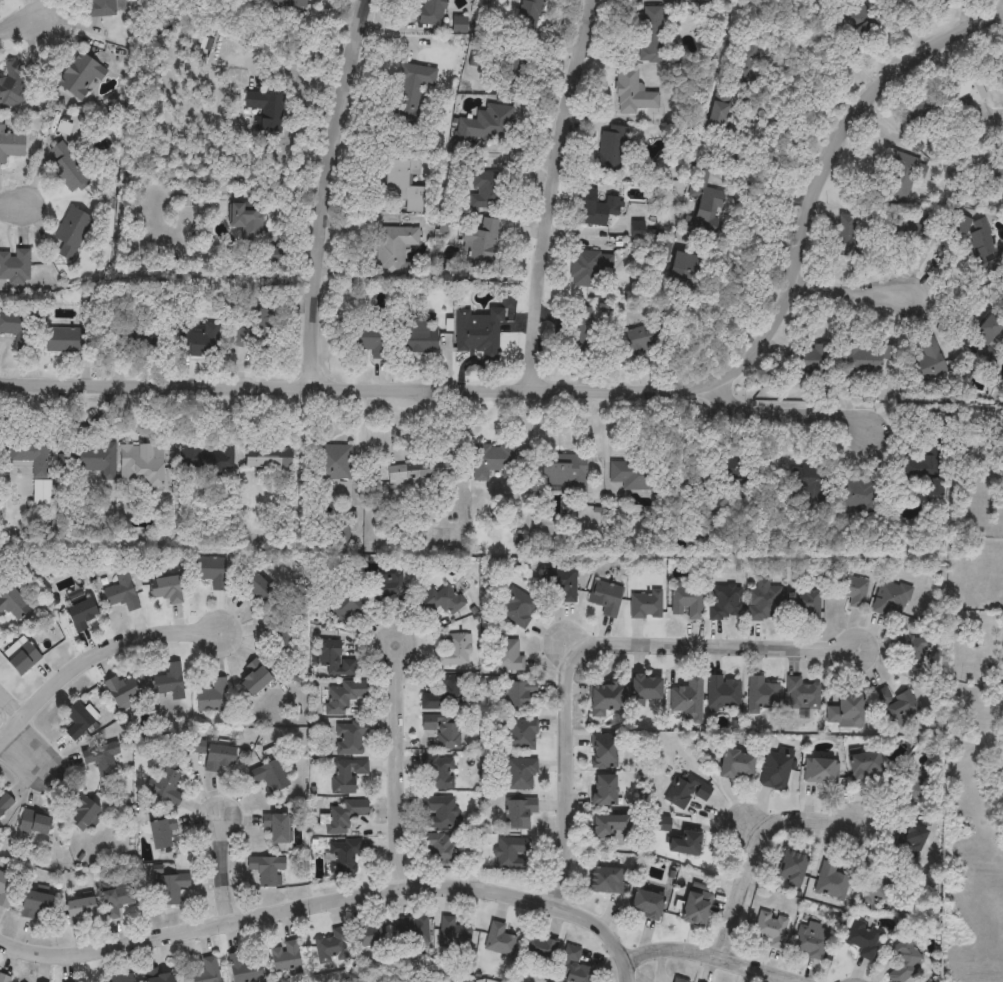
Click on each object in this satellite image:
building: (289, 4)
building: (942, 4)
building: (102, 8)
building: (431, 12)
building: (461, 25)
road: (17, 26)
building: (861, 27)
building: (649, 32)
building: (78, 76)
building: (13, 86)
building: (963, 86)
building: (410, 91)
building: (632, 93)
building: (913, 115)
building: (485, 128)
road: (791, 134)
building: (10, 146)
building: (611, 150)
building: (68, 168)
building: (901, 177)
building: (995, 180)
building: (402, 184)
building: (487, 191)
road: (329, 193)
road: (552, 197)
building: (703, 203)
road: (18, 207)
building: (597, 208)
building: (246, 220)
building: (905, 230)
building: (71, 234)
building: (852, 240)
building: (981, 243)
building: (480, 247)
building: (393, 251)
building: (682, 263)
building: (14, 267)
building: (590, 270)
road: (847, 296)
building: (16, 328)
building: (257, 329)
building: (987, 331)
building: (582, 333)
building: (479, 334)
building: (415, 337)
building: (369, 339)
building: (197, 340)
building: (70, 341)
building: (135, 341)
building: (642, 341)
building: (866, 359)
building: (814, 361)
building: (928, 362)
road: (607, 398)
road: (793, 405)
building: (266, 459)
building: (88, 460)
building: (207, 460)
building: (491, 461)
building: (926, 462)
building: (333, 463)
building: (140, 466)
building: (35, 471)
building: (563, 472)
building: (418, 473)
building: (634, 474)
building: (808, 476)
building: (858, 500)
building: (211, 572)
building: (565, 586)
building: (389, 588)
building: (167, 590)
building: (256, 590)
building: (854, 592)
building: (121, 594)
building: (605, 599)
building: (890, 600)
building: (439, 602)
building: (763, 602)
building: (725, 603)
building: (687, 604)
building: (12, 605)
building: (646, 606)
building: (804, 607)
building: (346, 608)
building: (517, 609)
building: (79, 615)
building: (279, 633)
building: (452, 652)
road: (592, 654)
road: (97, 655)
building: (917, 655)
building: (507, 657)
building: (22, 660)
building: (333, 661)
building: (253, 682)
building: (170, 683)
building: (646, 689)
building: (123, 692)
building: (724, 694)
building: (444, 695)
building: (802, 695)
building: (518, 696)
building: (762, 696)
building: (343, 697)
building: (213, 698)
building: (604, 700)
building: (688, 700)
building: (898, 706)
road: (10, 708)
building: (844, 712)
building: (77, 720)
building: (443, 731)
building: (520, 736)
building: (350, 738)
building: (604, 752)
building: (101, 758)
building: (217, 758)
building: (735, 765)
building: (864, 766)
road: (398, 768)
building: (777, 769)
building: (822, 771)
building: (439, 774)
building: (521, 775)
building: (347, 776)
building: (270, 777)
building: (166, 787)
building: (910, 788)
building: (604, 791)
building: (686, 792)
building: (4, 803)
building: (80, 814)
building: (440, 814)
building: (519, 814)
building: (345, 815)
building: (34, 825)
building: (607, 826)
building: (276, 829)
building: (161, 833)
building: (909, 841)
building: (682, 845)
building: (439, 850)
road: (755, 851)
building: (511, 853)
building: (343, 857)
building: (790, 869)
road: (221, 870)
building: (266, 871)
building: (604, 881)
building: (830, 884)
building: (169, 889)
building: (876, 889)
building: (6, 890)
building: (116, 902)
road: (329, 902)
building: (644, 904)
building: (35, 907)
building: (693, 908)
building: (80, 910)
building: (771, 930)
building: (414, 931)
building: (371, 935)
building: (453, 935)
building: (863, 940)
building: (499, 941)
building: (810, 941)
building: (331, 949)
building: (539, 951)
building: (286, 957)
building: (905, 961)
road: (700, 962)
building: (573, 967)
building: (243, 968)
building: (207, 971)
building: (159, 978)
building: (4, 979)
building: (119, 979)
building: (676, 981)

